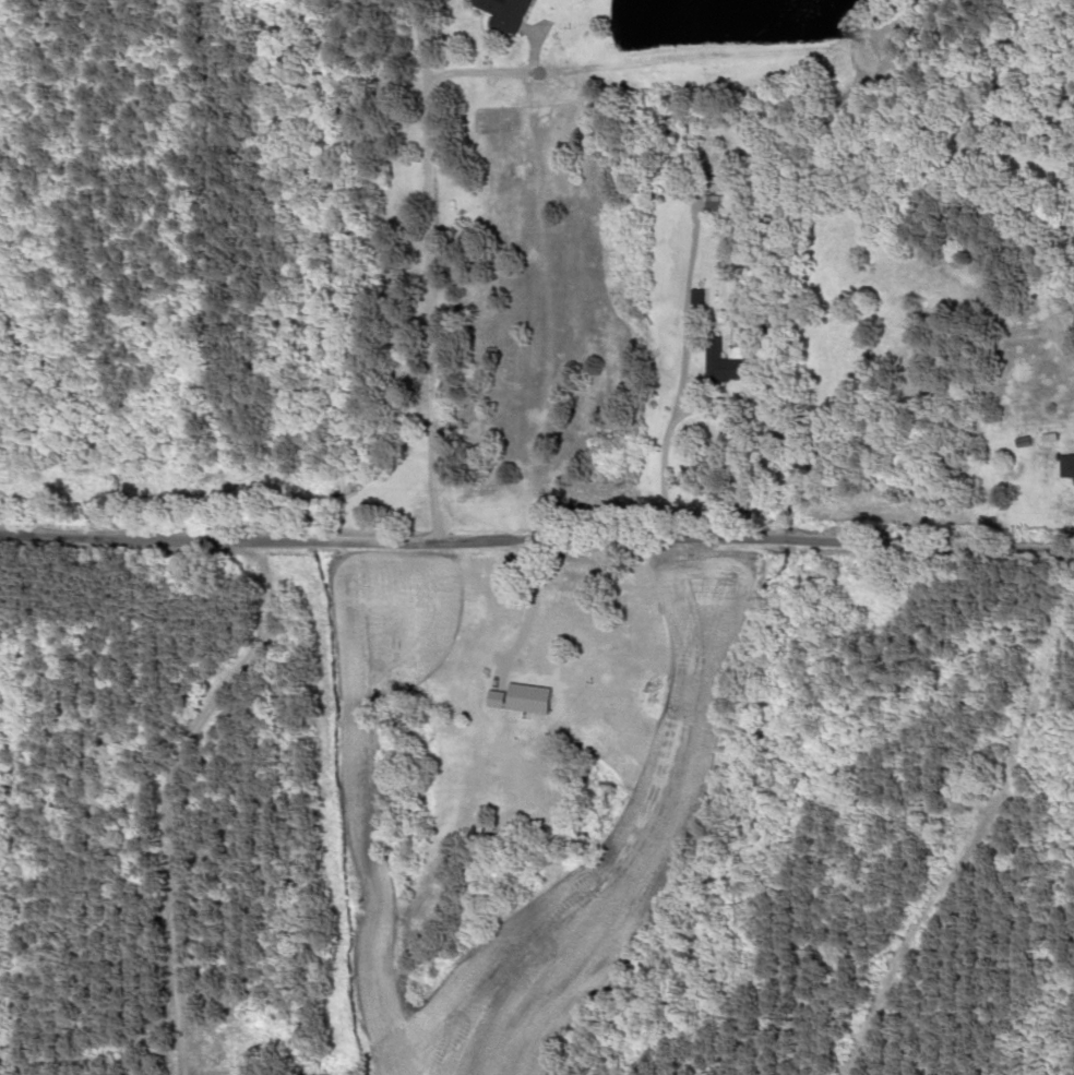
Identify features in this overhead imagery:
building: (518, 12)
building: (715, 204)
building: (736, 368)
road: (683, 371)
road: (538, 545)

